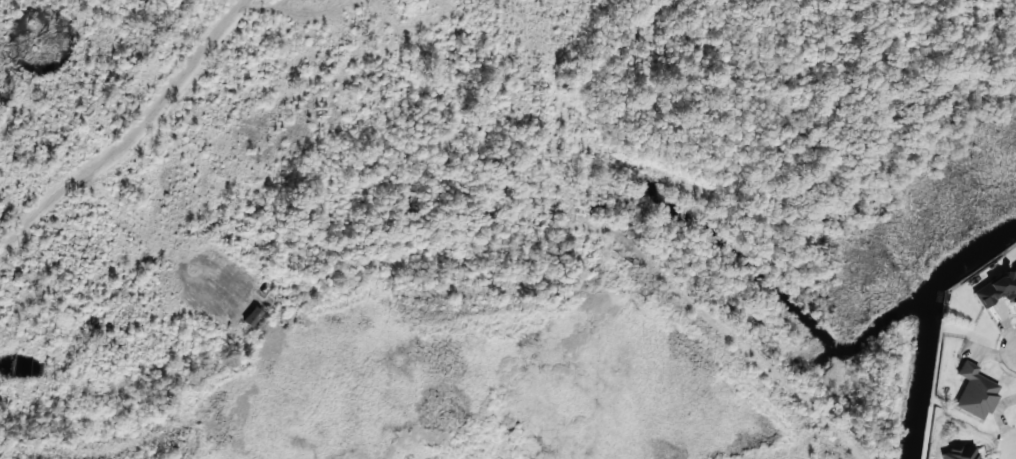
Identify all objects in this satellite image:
road: (132, 138)
road: (139, 226)
building: (996, 289)
building: (250, 317)
building: (972, 393)

